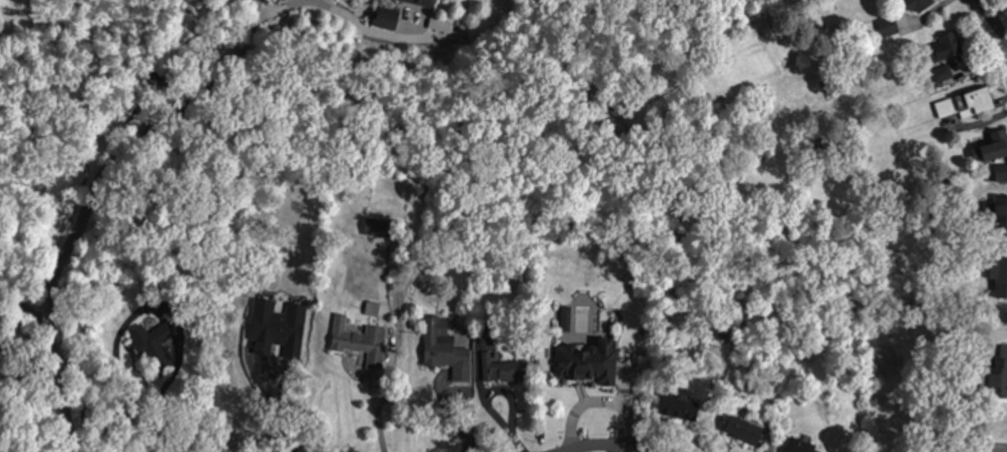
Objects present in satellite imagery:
building: (425, 3)
building: (917, 5)
building: (808, 19)
road: (991, 21)
building: (943, 49)
building: (973, 102)
building: (993, 151)
road: (113, 161)
building: (1000, 213)
building: (377, 227)
building: (997, 275)
building: (358, 340)
building: (437, 340)
building: (584, 363)
building: (504, 373)
building: (1000, 376)
building: (676, 403)
road: (63, 409)
building: (743, 428)
building: (800, 445)
road: (611, 446)

